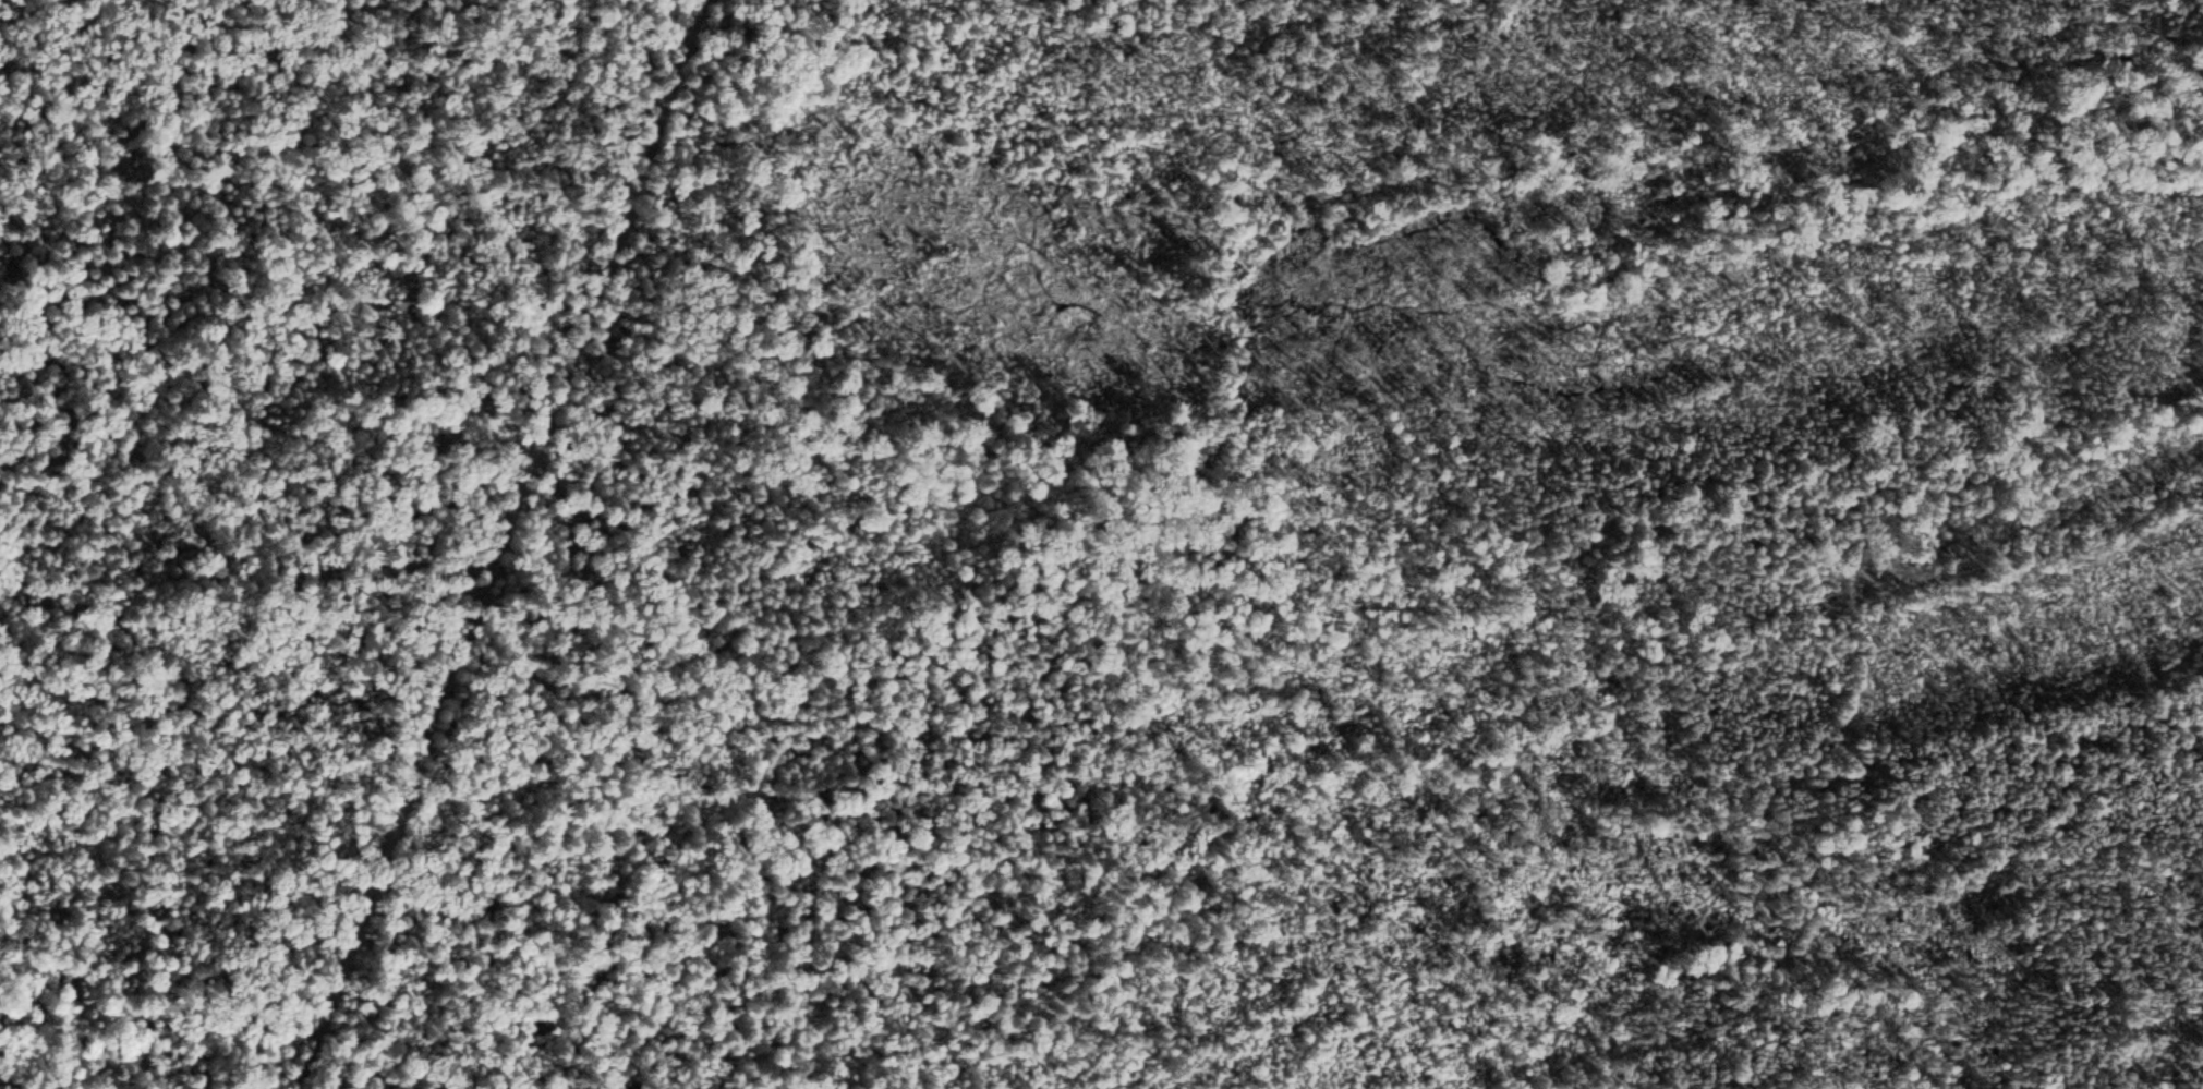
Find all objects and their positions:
road: (507, 544)

